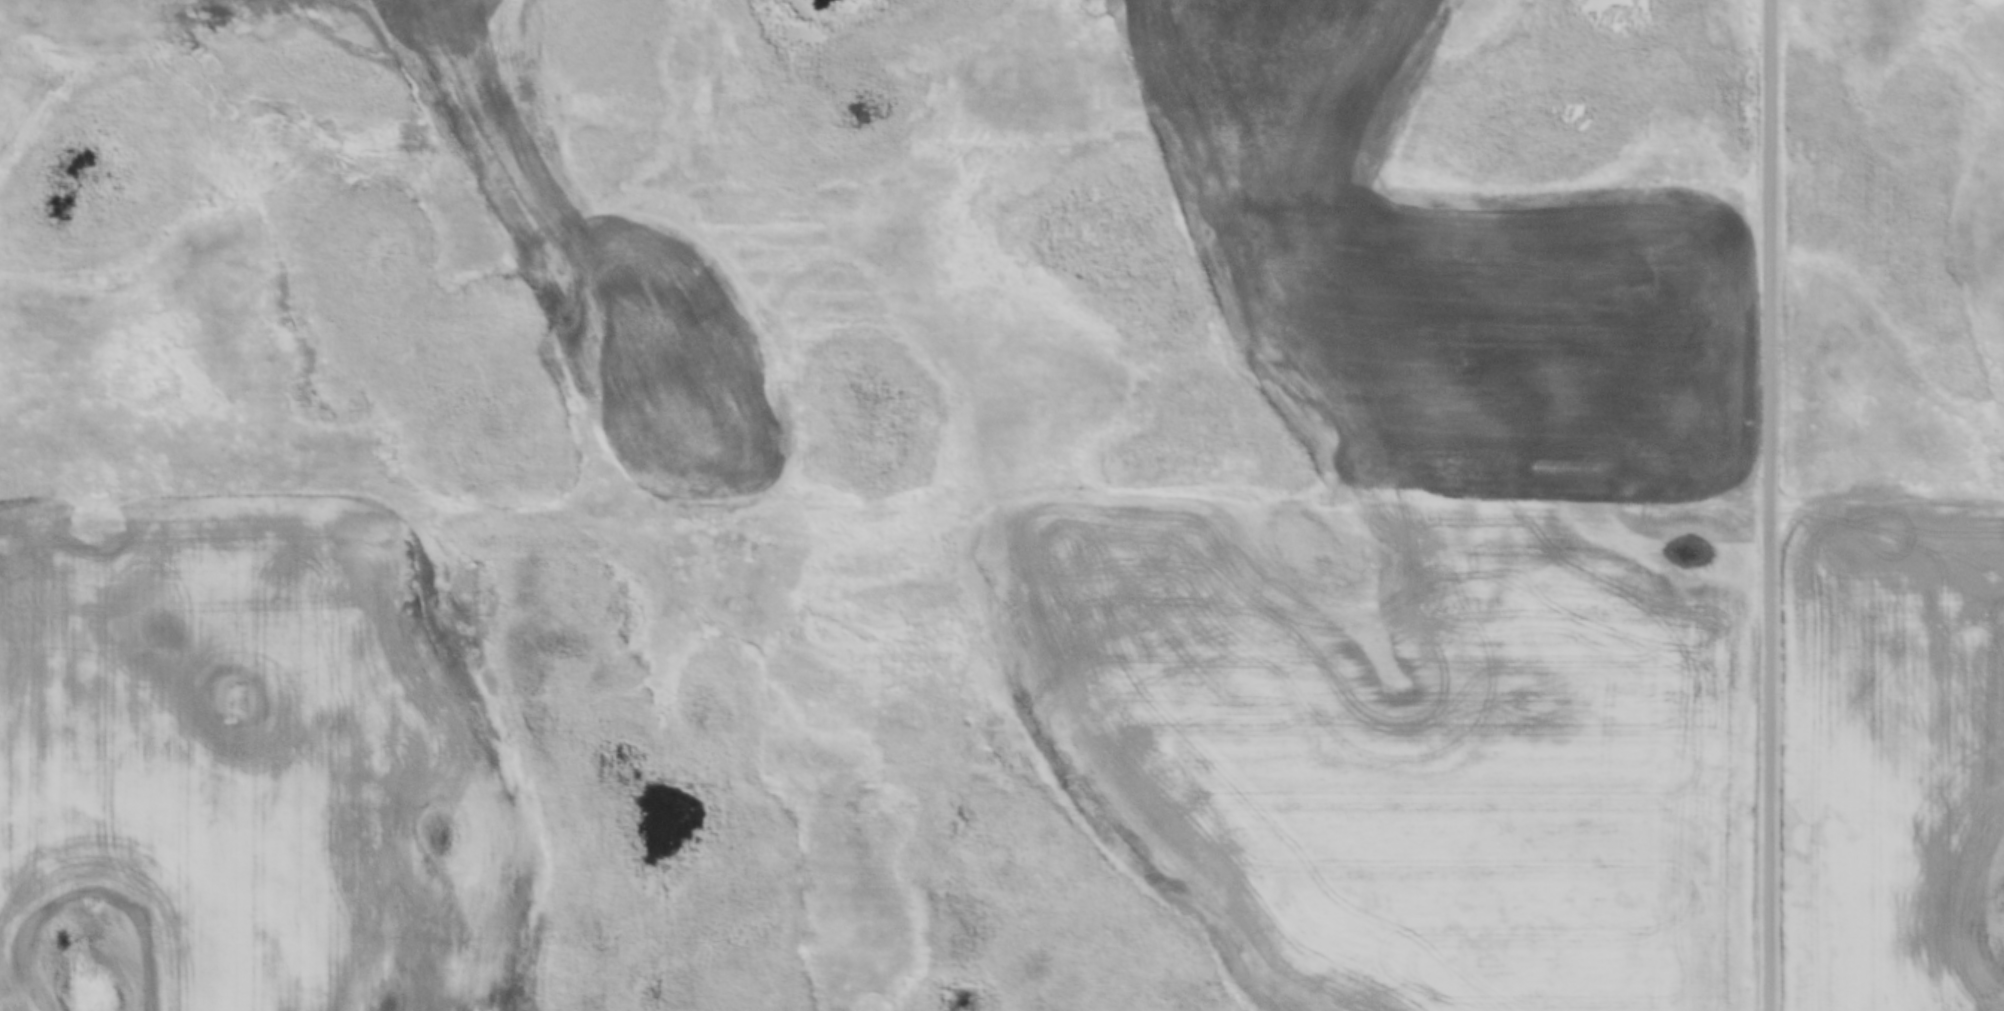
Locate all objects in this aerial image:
road: (1771, 505)

